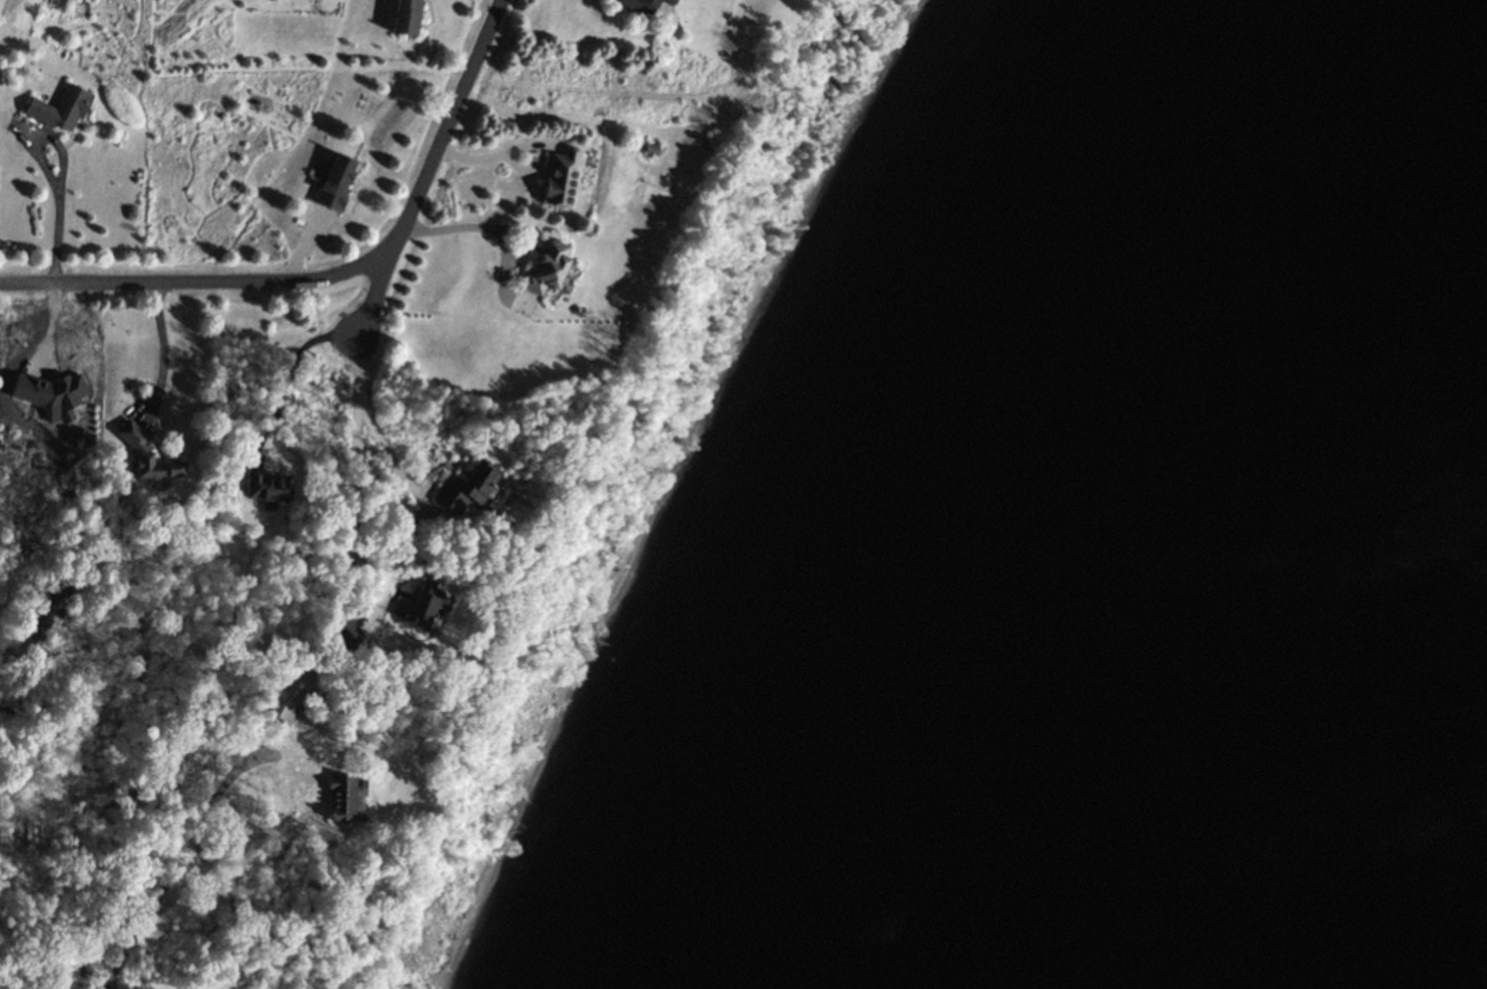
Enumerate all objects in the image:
building: (640, 6)
building: (402, 17)
building: (63, 108)
road: (495, 156)
road: (61, 166)
building: (558, 179)
building: (328, 183)
road: (498, 227)
road: (332, 272)
road: (374, 293)
road: (159, 349)
road: (291, 373)
building: (145, 455)
road: (398, 464)
building: (267, 488)
building: (474, 489)
road: (351, 518)
building: (418, 604)
building: (343, 631)
building: (286, 692)
building: (351, 798)
road: (185, 847)

